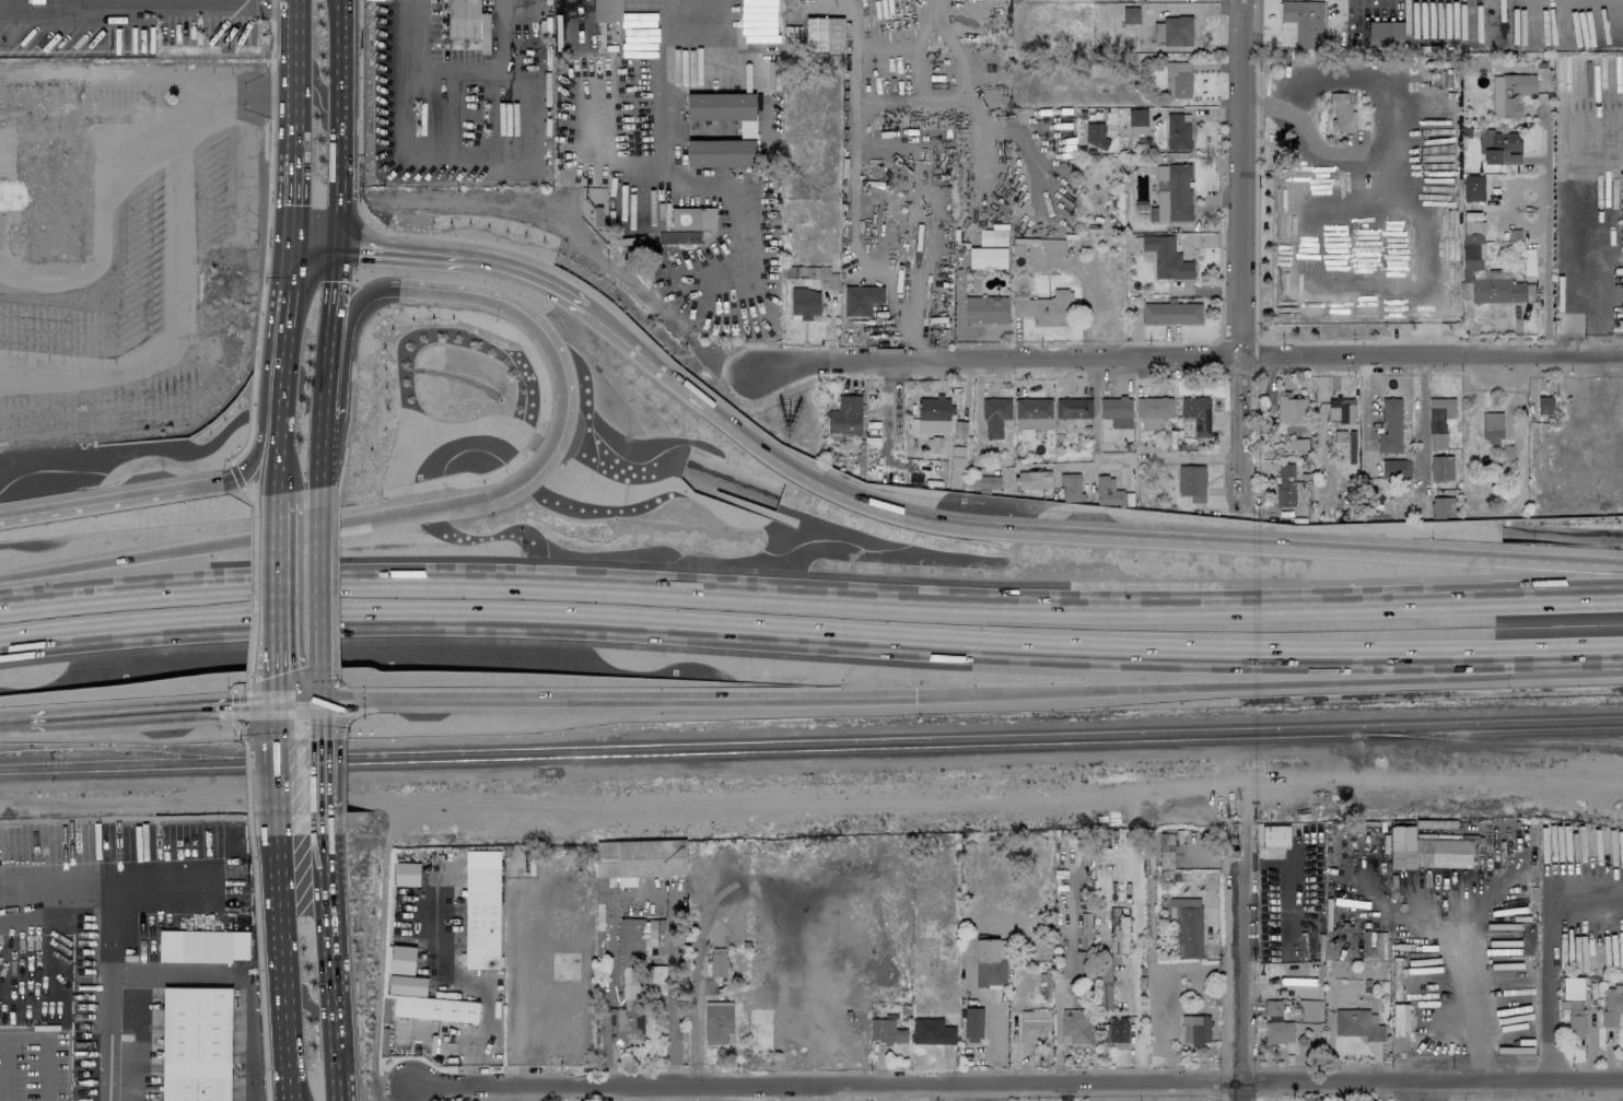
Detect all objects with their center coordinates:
road: (126, 0)
road: (253, 0)
road: (334, 0)
road: (258, 1)
building: (1496, 1)
road: (278, 3)
building: (607, 10)
building: (1131, 15)
building: (468, 22)
building: (1305, 22)
building: (1174, 31)
building: (815, 34)
road: (459, 69)
road: (293, 75)
building: (1178, 80)
building: (1509, 93)
building: (724, 109)
building: (1342, 110)
road: (338, 121)
building: (1136, 121)
building: (1178, 131)
building: (1095, 134)
road: (1387, 142)
road: (679, 147)
building: (1499, 147)
building: (720, 153)
building: (1473, 187)
building: (1172, 194)
road: (290, 195)
road: (1544, 200)
building: (692, 218)
road: (267, 235)
building: (991, 236)
traffic signals: (289, 238)
road: (312, 241)
building: (1472, 241)
traffic signals: (336, 244)
building: (1053, 246)
road: (1240, 253)
building: (1165, 256)
building: (986, 257)
road: (331, 293)
building: (861, 298)
building: (805, 303)
road: (349, 305)
building: (1044, 306)
building: (985, 309)
building: (1171, 313)
road: (958, 316)
road: (1544, 330)
road: (551, 351)
road: (283, 354)
road: (1186, 355)
road: (325, 379)
building: (1544, 405)
building: (1116, 407)
building: (933, 408)
building: (1073, 408)
building: (1291, 408)
building: (1340, 409)
building: (1153, 411)
building: (1032, 412)
building: (1196, 413)
building: (994, 415)
building: (844, 417)
road: (1422, 420)
building: (1439, 420)
building: (1390, 426)
building: (1491, 426)
road: (318, 442)
building: (1297, 443)
road: (1155, 456)
building: (1441, 467)
building: (1396, 468)
road: (237, 476)
building: (1032, 479)
building: (986, 481)
building: (1192, 482)
building: (1285, 484)
road: (278, 485)
building: (1071, 487)
building: (1108, 491)
road: (139, 495)
traffic signals: (487, 501)
road: (939, 520)
road: (243, 539)
road: (314, 571)
road: (253, 579)
road: (272, 585)
road: (810, 596)
road: (810, 635)
road: (247, 686)
road: (267, 688)
road: (312, 688)
road: (968, 696)
traffic signals: (313, 702)
traffic signals: (266, 705)
road: (235, 708)
road: (156, 712)
road: (313, 719)
road: (267, 721)
railway: (1499, 721)
railway: (1493, 742)
railway: (688, 745)
railway: (125, 749)
railway: (811, 751)
road: (316, 775)
road: (247, 781)
road: (270, 784)
building: (1275, 836)
building: (1426, 851)
building: (1165, 853)
road: (323, 857)
building: (637, 862)
building: (406, 874)
building: (481, 909)
building: (1187, 925)
building: (206, 946)
road: (1240, 946)
road: (109, 948)
building: (641, 954)
road: (1548, 957)
building: (1082, 961)
building: (717, 962)
road: (280, 967)
road: (259, 968)
road: (1463, 976)
building: (1105, 985)
building: (1572, 987)
building: (420, 992)
road: (976, 993)
road: (331, 1002)
building: (1612, 1003)
building: (1273, 1006)
building: (1401, 1019)
building: (1575, 1019)
building: (717, 1021)
building: (624, 1022)
building: (972, 1023)
building: (1358, 1023)
building: (759, 1026)
building: (1035, 1026)
building: (1075, 1026)
building: (1117, 1029)
building: (1195, 1029)
building: (887, 1031)
building: (932, 1031)
building: (1278, 1031)
building: (196, 1044)
road: (1018, 1079)
road: (408, 1093)

